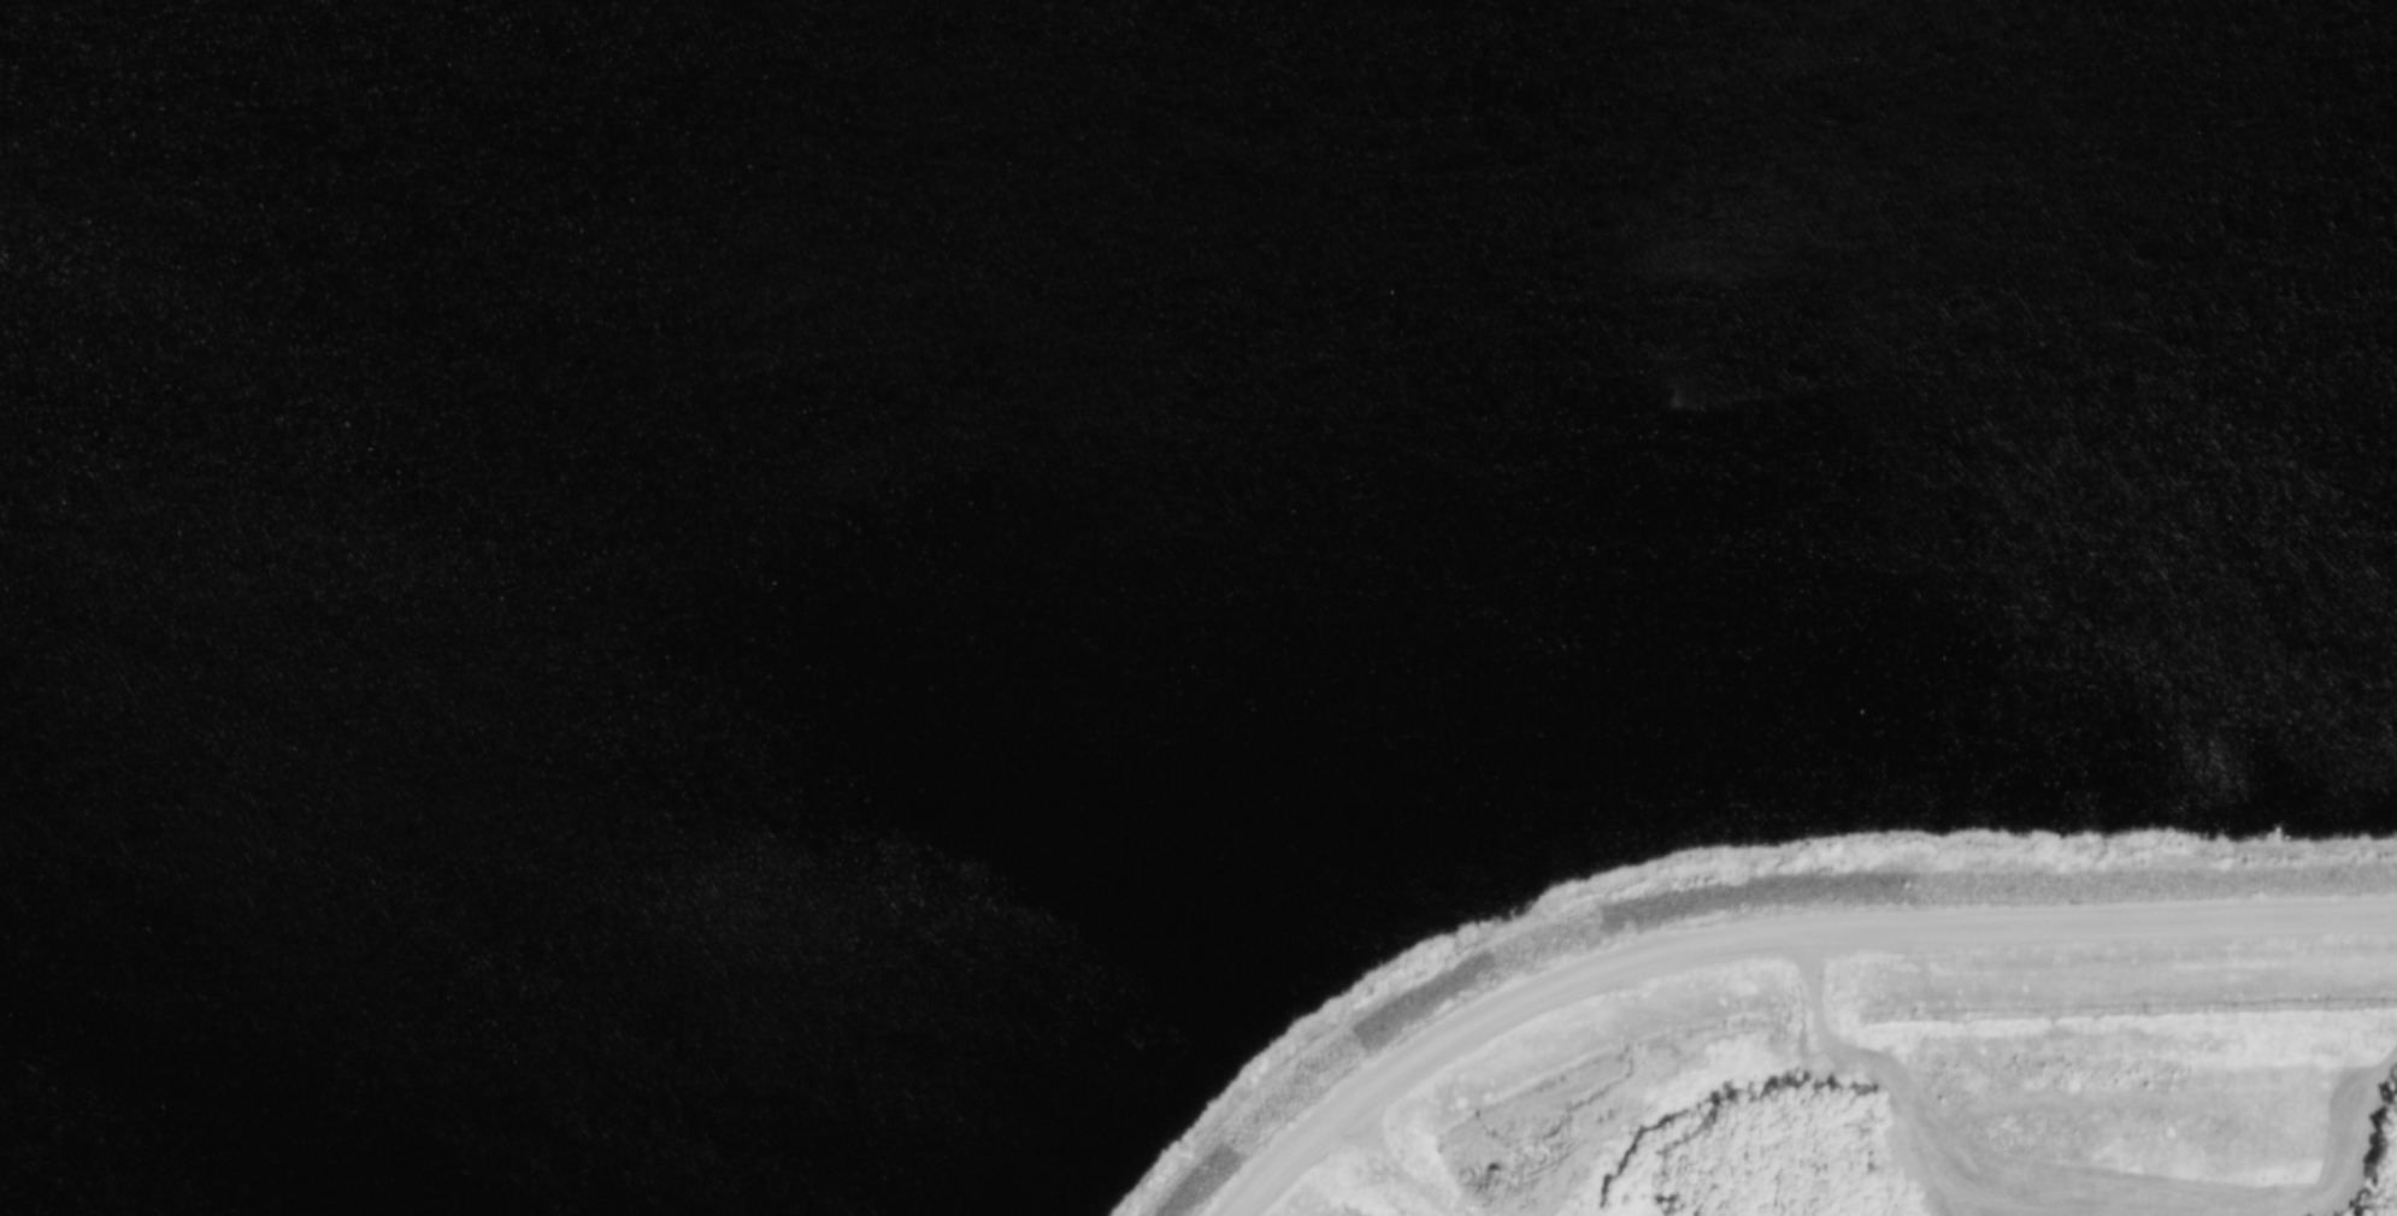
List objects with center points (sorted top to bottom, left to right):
road: (1750, 905)
road: (1384, 1158)

